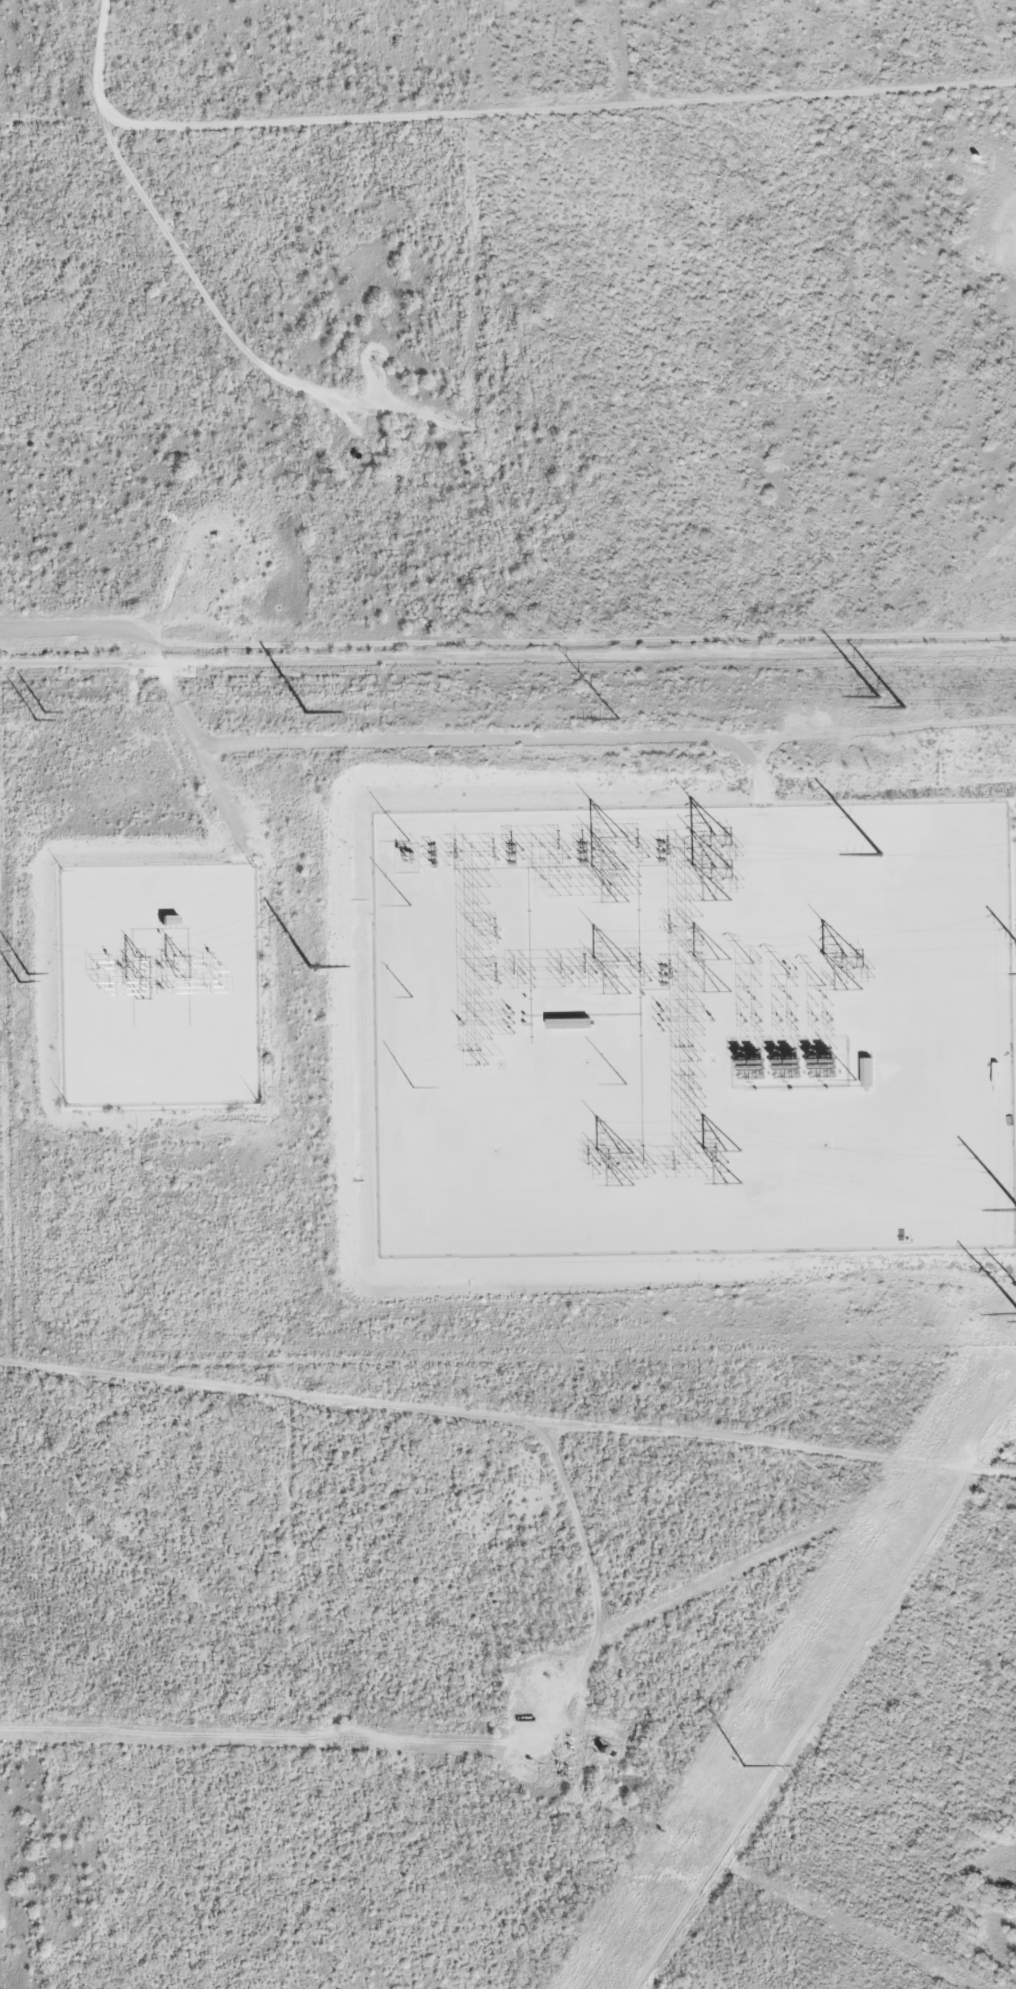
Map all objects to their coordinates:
power tower: (878, 695)
power tower: (903, 707)
power tower: (43, 711)
power tower: (305, 711)
power tower: (619, 718)
power tower: (36, 720)
power tower: (880, 854)
building: (167, 919)
power tower: (310, 967)
power tower: (27, 973)
power tower: (18, 981)
power substation: (159, 985)
power substation: (693, 1029)
road: (508, 1430)
power tower: (743, 1765)

